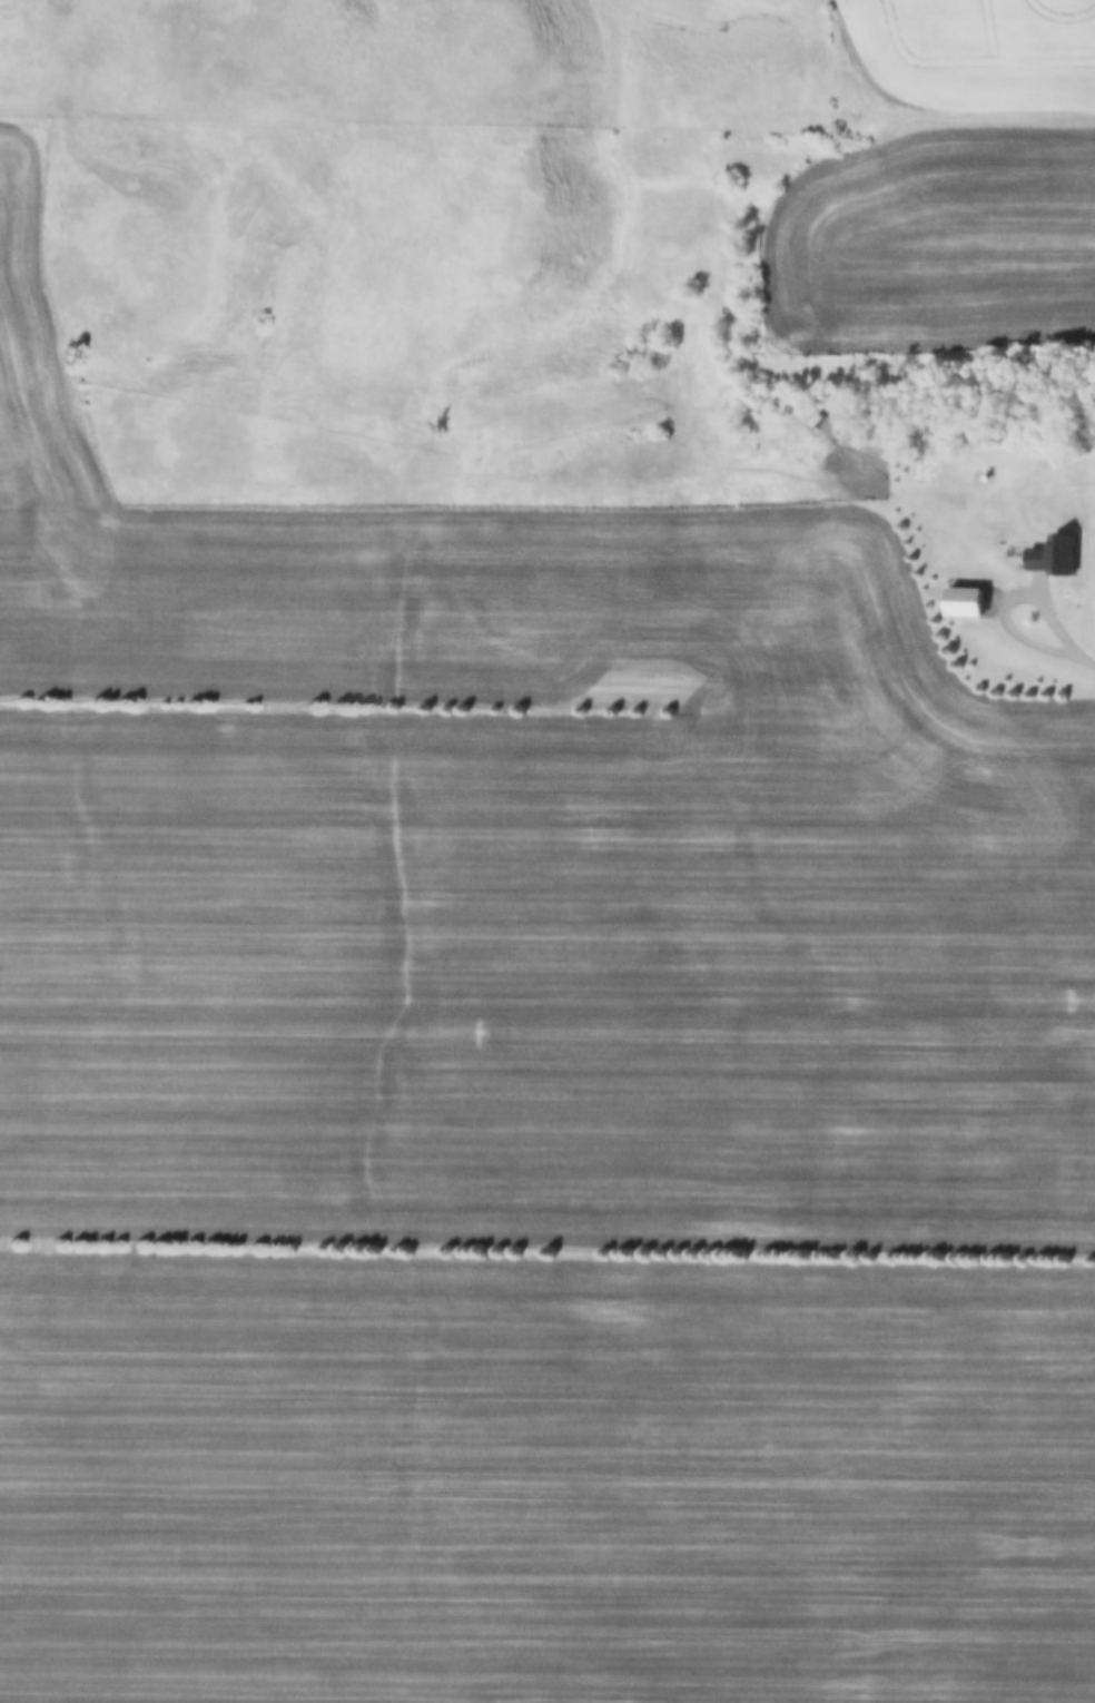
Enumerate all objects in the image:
building: (818, 420)
building: (1056, 555)
road: (1092, 646)

